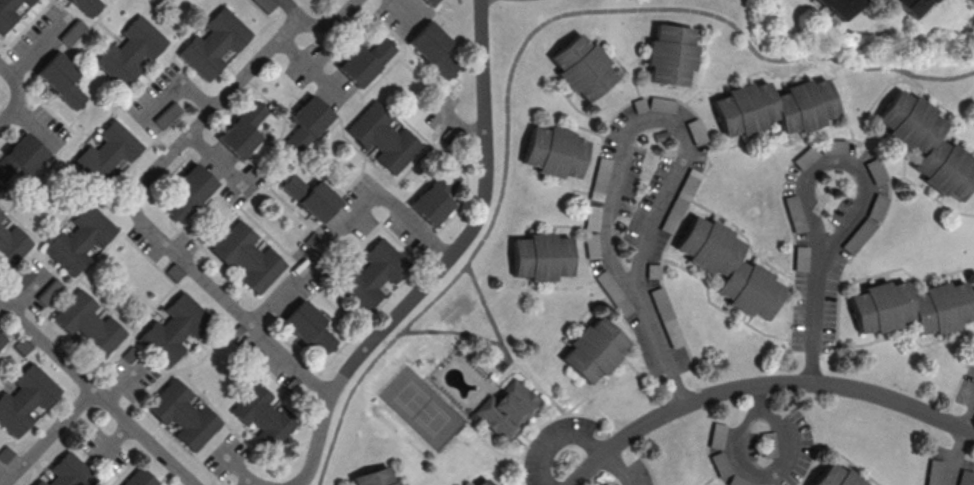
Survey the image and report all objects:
building: (931, 0)
building: (427, 2)
road: (400, 5)
building: (913, 5)
building: (840, 6)
building: (85, 7)
road: (290, 8)
building: (8, 11)
road: (329, 20)
building: (212, 44)
building: (433, 48)
building: (129, 51)
road: (517, 51)
building: (669, 55)
building: (363, 63)
road: (310, 67)
building: (581, 68)
building: (59, 81)
road: (176, 83)
road: (14, 94)
building: (773, 108)
building: (167, 114)
road: (655, 114)
building: (305, 123)
building: (241, 132)
building: (381, 137)
building: (925, 145)
building: (106, 153)
building: (553, 153)
road: (207, 154)
building: (19, 157)
road: (840, 159)
building: (188, 192)
building: (310, 196)
building: (434, 198)
road: (392, 213)
road: (137, 215)
building: (0, 217)
building: (79, 239)
building: (10, 247)
building: (245, 257)
building: (539, 258)
road: (442, 262)
building: (726, 268)
building: (371, 275)
road: (298, 277)
road: (549, 287)
building: (43, 296)
road: (485, 304)
building: (909, 308)
road: (817, 310)
building: (86, 326)
building: (307, 328)
building: (172, 330)
building: (1, 341)
road: (660, 342)
building: (593, 349)
road: (505, 351)
road: (761, 383)
road: (121, 384)
road: (96, 393)
road: (759, 396)
building: (24, 399)
park: (423, 408)
road: (761, 409)
building: (508, 410)
building: (181, 415)
building: (261, 417)
road: (971, 421)
road: (48, 437)
road: (560, 440)
road: (957, 457)
road: (233, 465)
road: (619, 468)
building: (68, 472)
building: (834, 477)
building: (138, 478)
building: (373, 479)
building: (933, 480)
road: (248, 482)
building: (482, 482)
building: (38, 483)
building: (469, 484)

